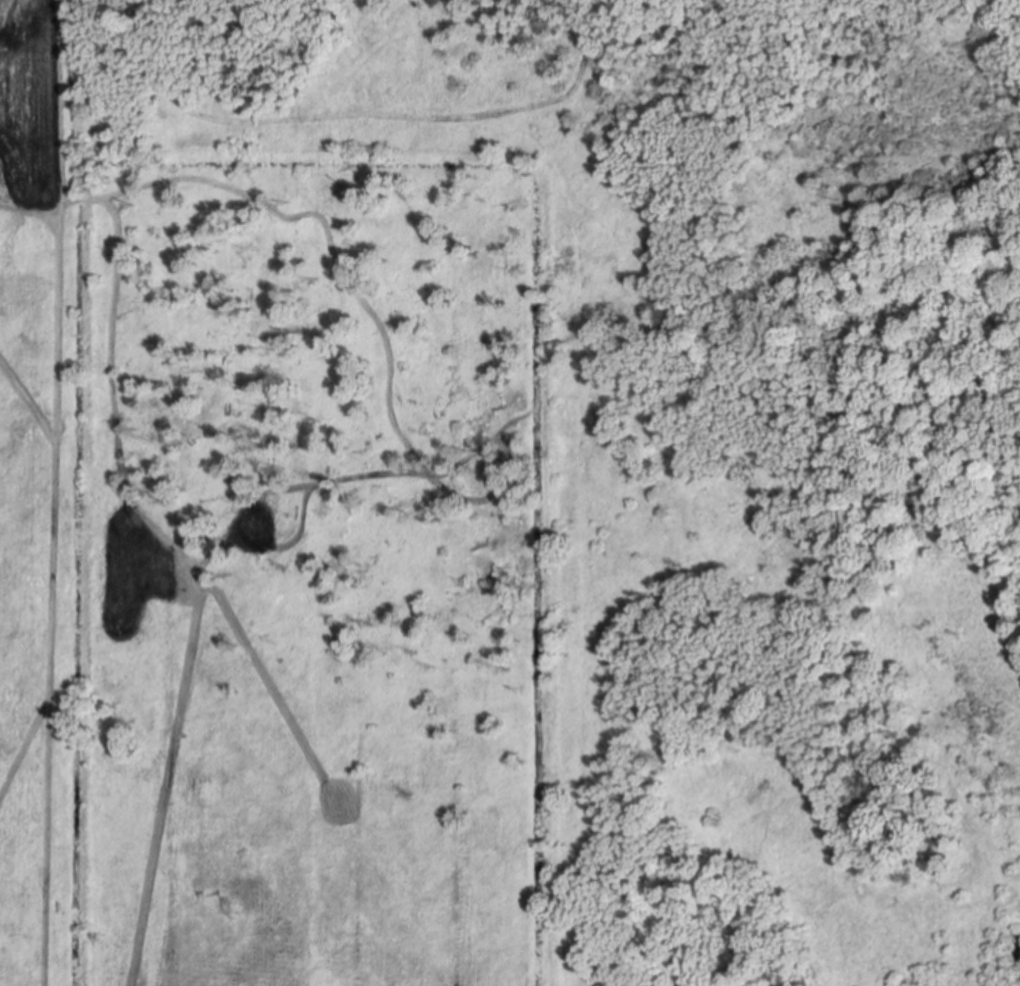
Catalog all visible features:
river: (1010, 979)

